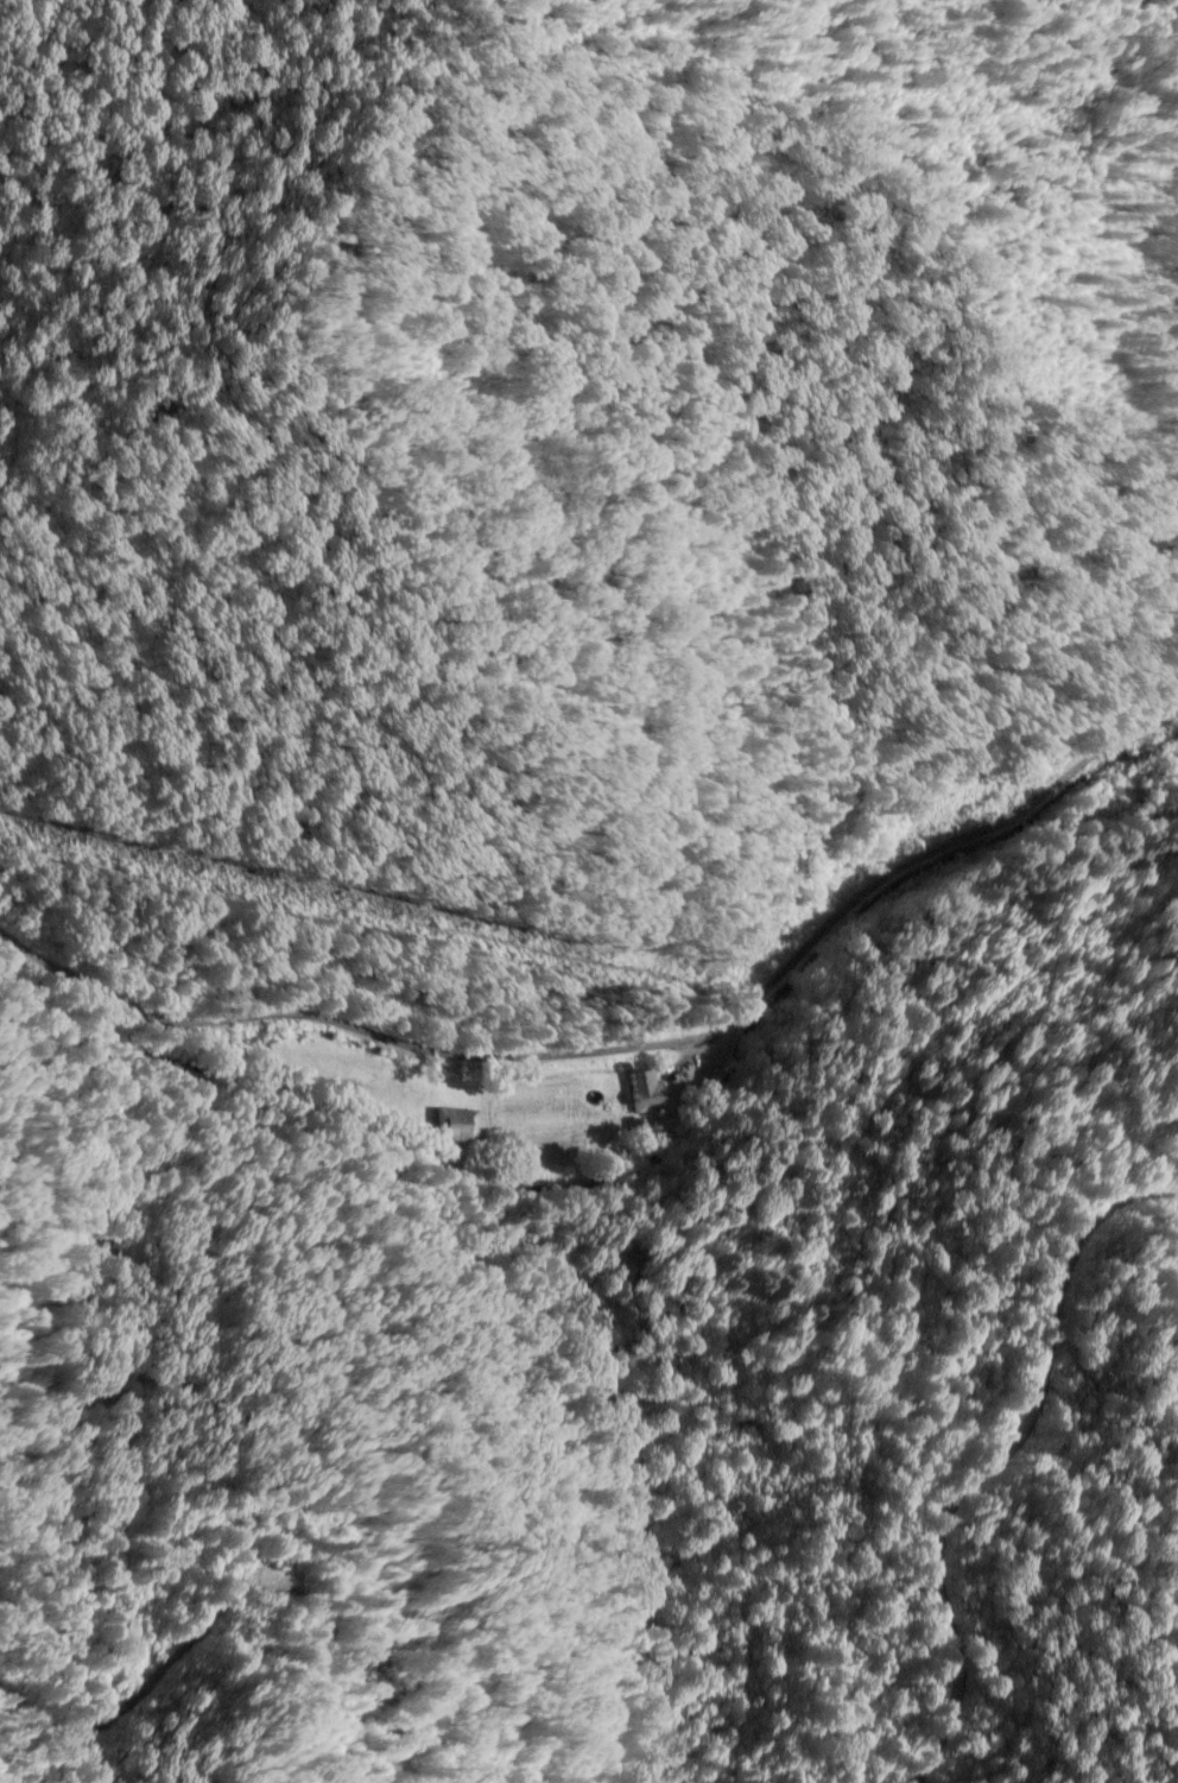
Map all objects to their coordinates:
road: (631, 1047)

